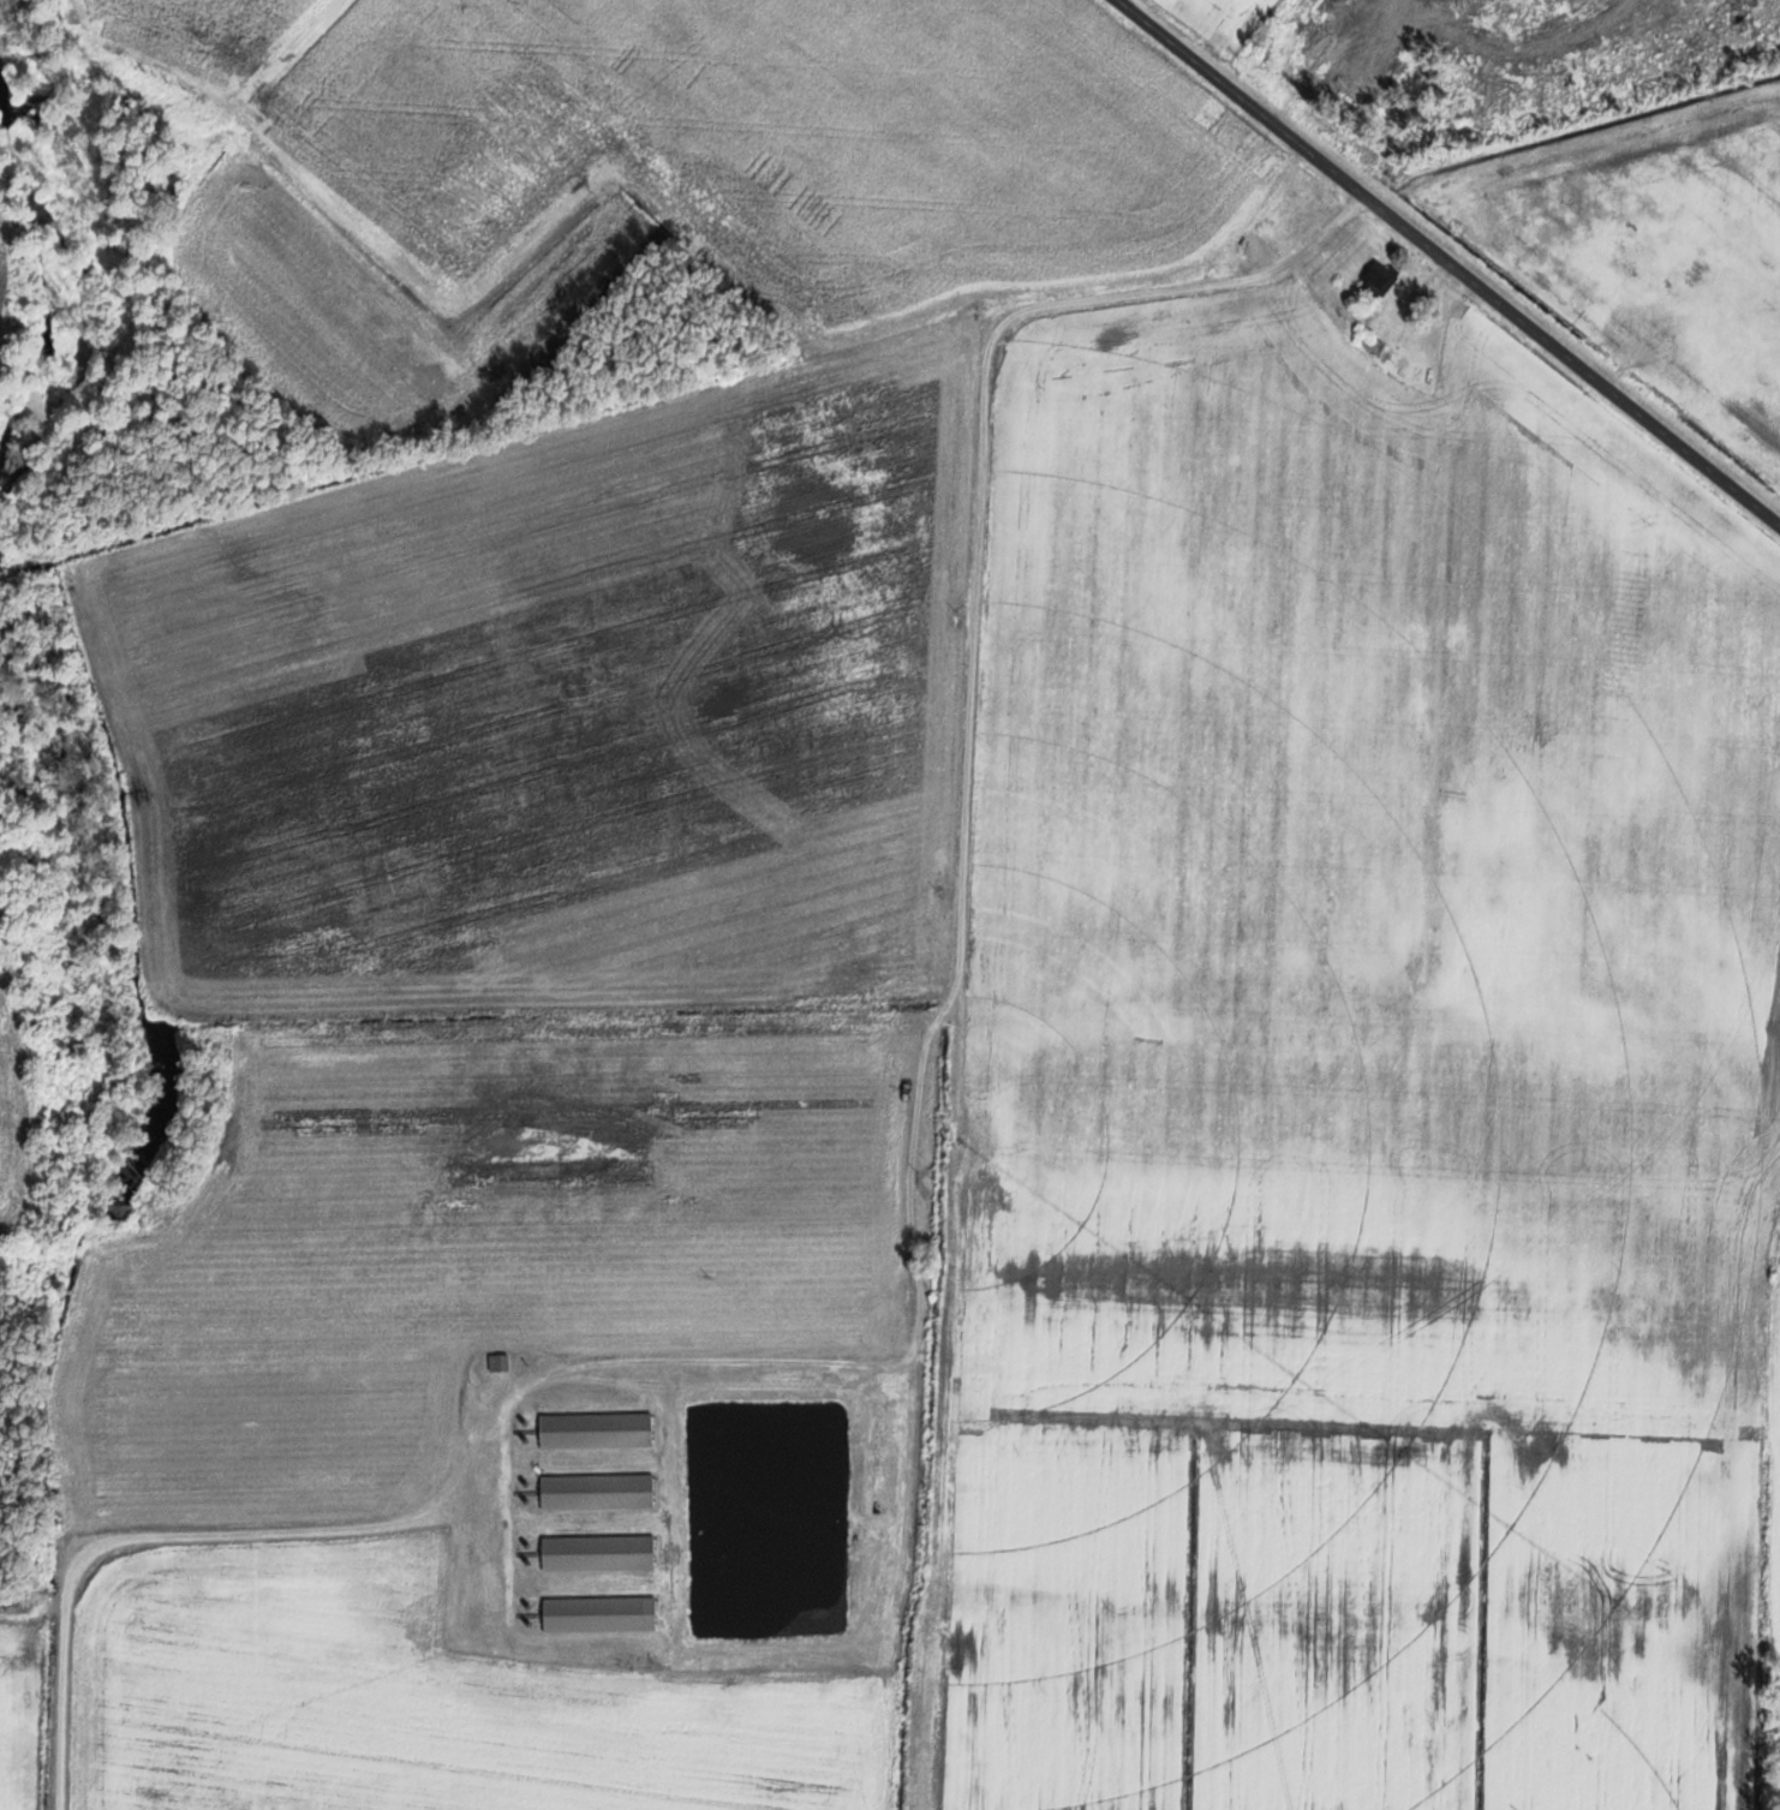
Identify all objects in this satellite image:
crop: (1221, 19)
crop: (213, 29)
crop: (975, 127)
crop: (495, 215)
crop: (2, 251)
road: (1451, 261)
building: (1380, 277)
building: (1381, 337)
building: (1376, 345)
crop: (1189, 653)
crop: (563, 709)
crop: (1606, 733)
crop: (14, 1118)
crop: (1364, 1151)
crop: (474, 1244)
building: (500, 1363)
crop: (1318, 1366)
building: (597, 1430)
building: (598, 1491)
crop: (1385, 1539)
building: (599, 1553)
building: (602, 1614)
crop: (417, 1701)
crop: (16, 1708)

